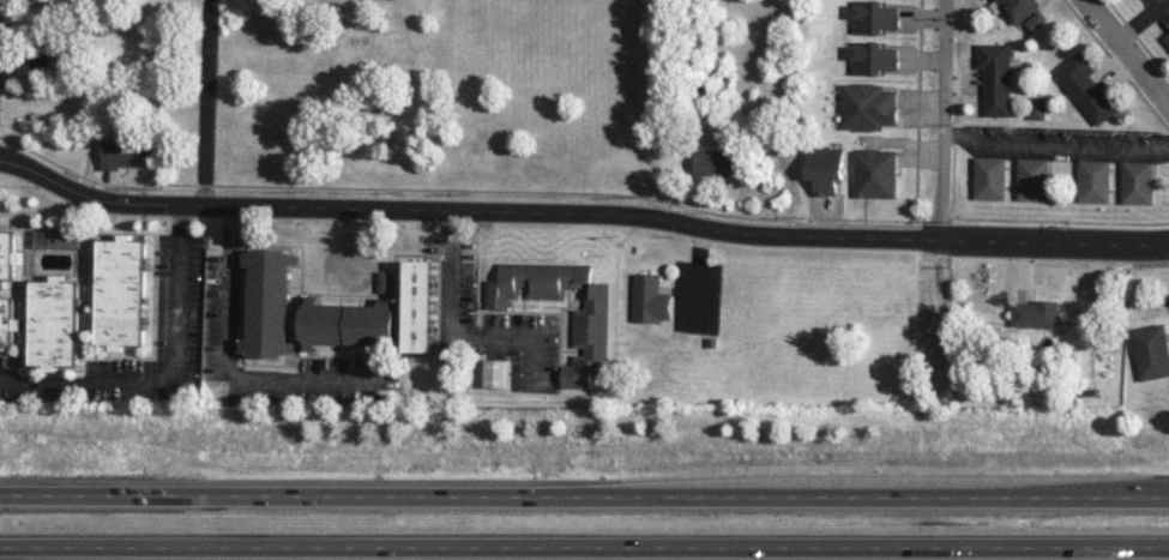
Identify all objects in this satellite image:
building: (1017, 8)
building: (873, 17)
building: (1035, 20)
building: (1167, 38)
road: (1126, 52)
building: (873, 58)
building: (995, 77)
building: (0, 84)
building: (1085, 88)
road: (206, 102)
building: (867, 106)
building: (1036, 107)
road: (942, 120)
building: (127, 152)
building: (713, 162)
building: (825, 168)
building: (874, 173)
building: (989, 177)
building: (1032, 179)
building: (1093, 180)
building: (1137, 182)
road: (579, 212)
building: (55, 237)
road: (1167, 242)
building: (6, 254)
building: (385, 281)
building: (535, 281)
building: (120, 291)
building: (649, 297)
building: (269, 302)
building: (420, 306)
road: (453, 312)
building: (1036, 313)
building: (7, 320)
building: (53, 323)
building: (347, 323)
building: (589, 338)
building: (1151, 350)
road: (228, 359)
road: (165, 369)
building: (494, 373)
road: (584, 496)
road: (584, 546)

